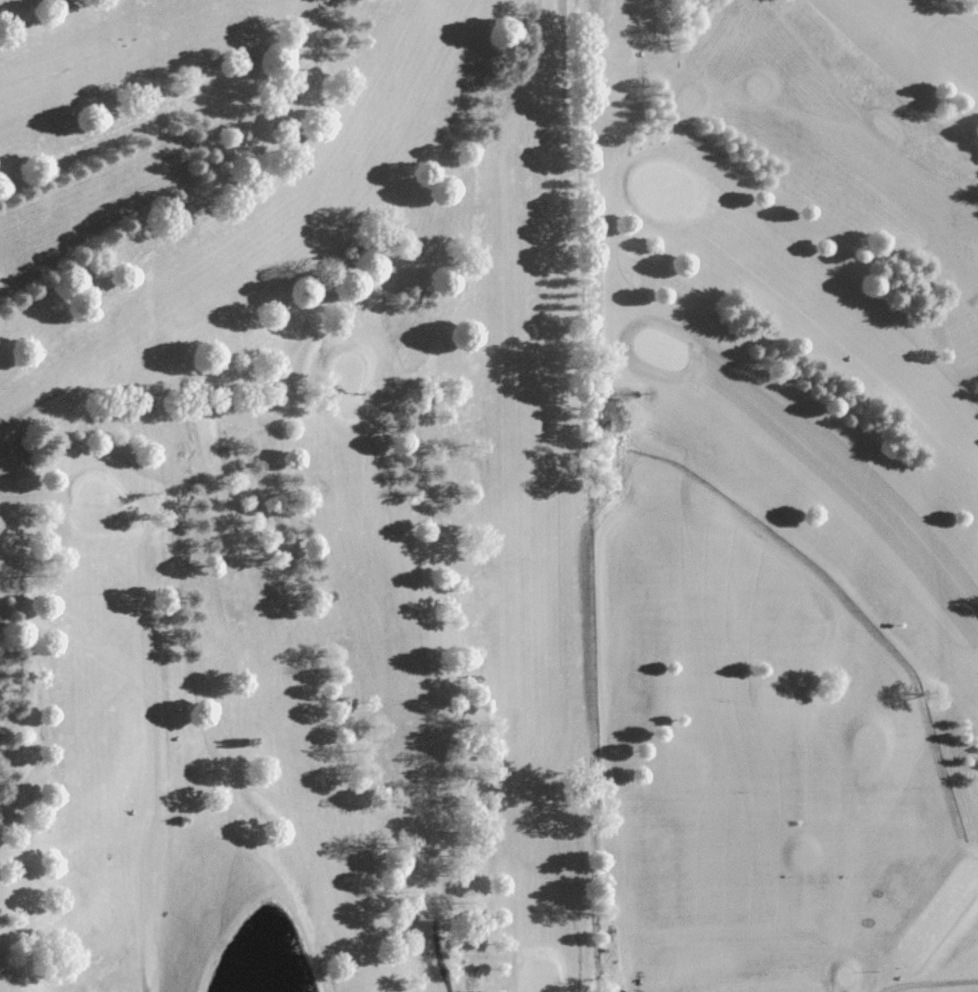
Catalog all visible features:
park: (296, 499)

